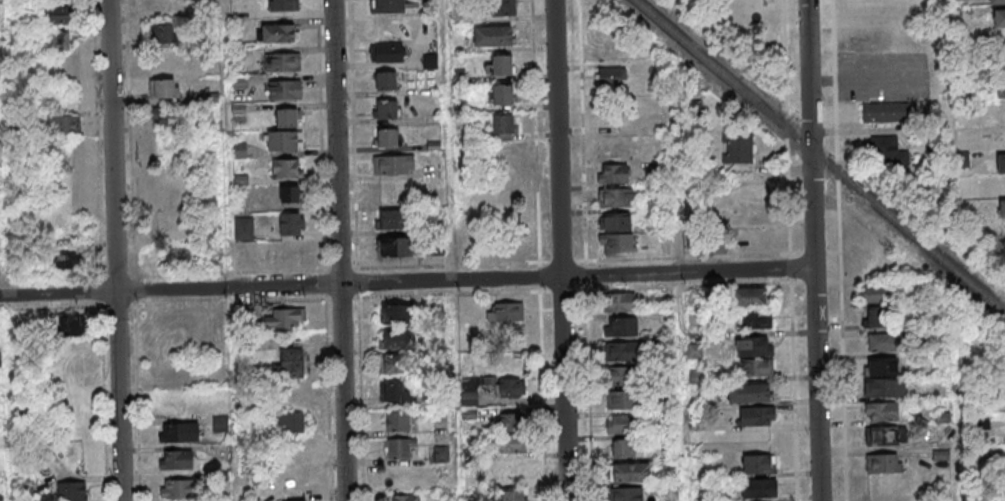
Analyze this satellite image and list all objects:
building: (996, 2)
building: (282, 5)
building: (386, 6)
building: (501, 7)
building: (164, 8)
building: (55, 16)
building: (998, 18)
building: (279, 33)
building: (162, 35)
building: (493, 35)
building: (59, 42)
building: (386, 52)
building: (282, 62)
building: (503, 64)
building: (1001, 66)
building: (611, 76)
road: (862, 78)
building: (385, 80)
building: (1000, 87)
building: (163, 88)
building: (284, 89)
building: (501, 94)
building: (385, 109)
building: (888, 112)
building: (288, 117)
building: (162, 118)
building: (71, 125)
road: (227, 127)
building: (504, 128)
building: (386, 136)
building: (285, 140)
building: (884, 147)
building: (737, 149)
railway: (819, 157)
building: (1000, 163)
building: (394, 164)
building: (287, 168)
building: (613, 173)
building: (289, 194)
building: (616, 197)
building: (1002, 207)
building: (392, 219)
building: (615, 221)
building: (292, 224)
building: (244, 228)
building: (618, 243)
building: (716, 244)
building: (395, 247)
road: (114, 250)
road: (325, 250)
road: (338, 250)
road: (356, 250)
road: (560, 250)
road: (585, 250)
road: (813, 250)
building: (176, 255)
building: (68, 260)
road: (406, 265)
road: (406, 281)
building: (876, 294)
building: (749, 296)
building: (620, 302)
building: (505, 311)
building: (396, 313)
building: (285, 317)
building: (878, 317)
building: (755, 319)
building: (69, 325)
building: (621, 327)
building: (397, 339)
building: (883, 342)
building: (754, 346)
building: (623, 351)
building: (694, 351)
building: (290, 363)
building: (392, 365)
building: (882, 366)
building: (756, 367)
building: (623, 375)
building: (510, 387)
building: (886, 387)
building: (394, 392)
building: (748, 392)
building: (470, 399)
building: (623, 399)
building: (883, 411)
building: (757, 416)
building: (397, 420)
building: (510, 420)
building: (290, 423)
building: (622, 423)
building: (220, 424)
building: (179, 432)
building: (884, 435)
building: (508, 443)
building: (400, 448)
building: (620, 448)
building: (176, 459)
building: (883, 463)
building: (759, 464)
building: (509, 470)
building: (629, 472)
building: (177, 488)
building: (758, 488)
building: (71, 491)
building: (626, 494)
building: (513, 495)
building: (404, 498)
building: (294, 500)

